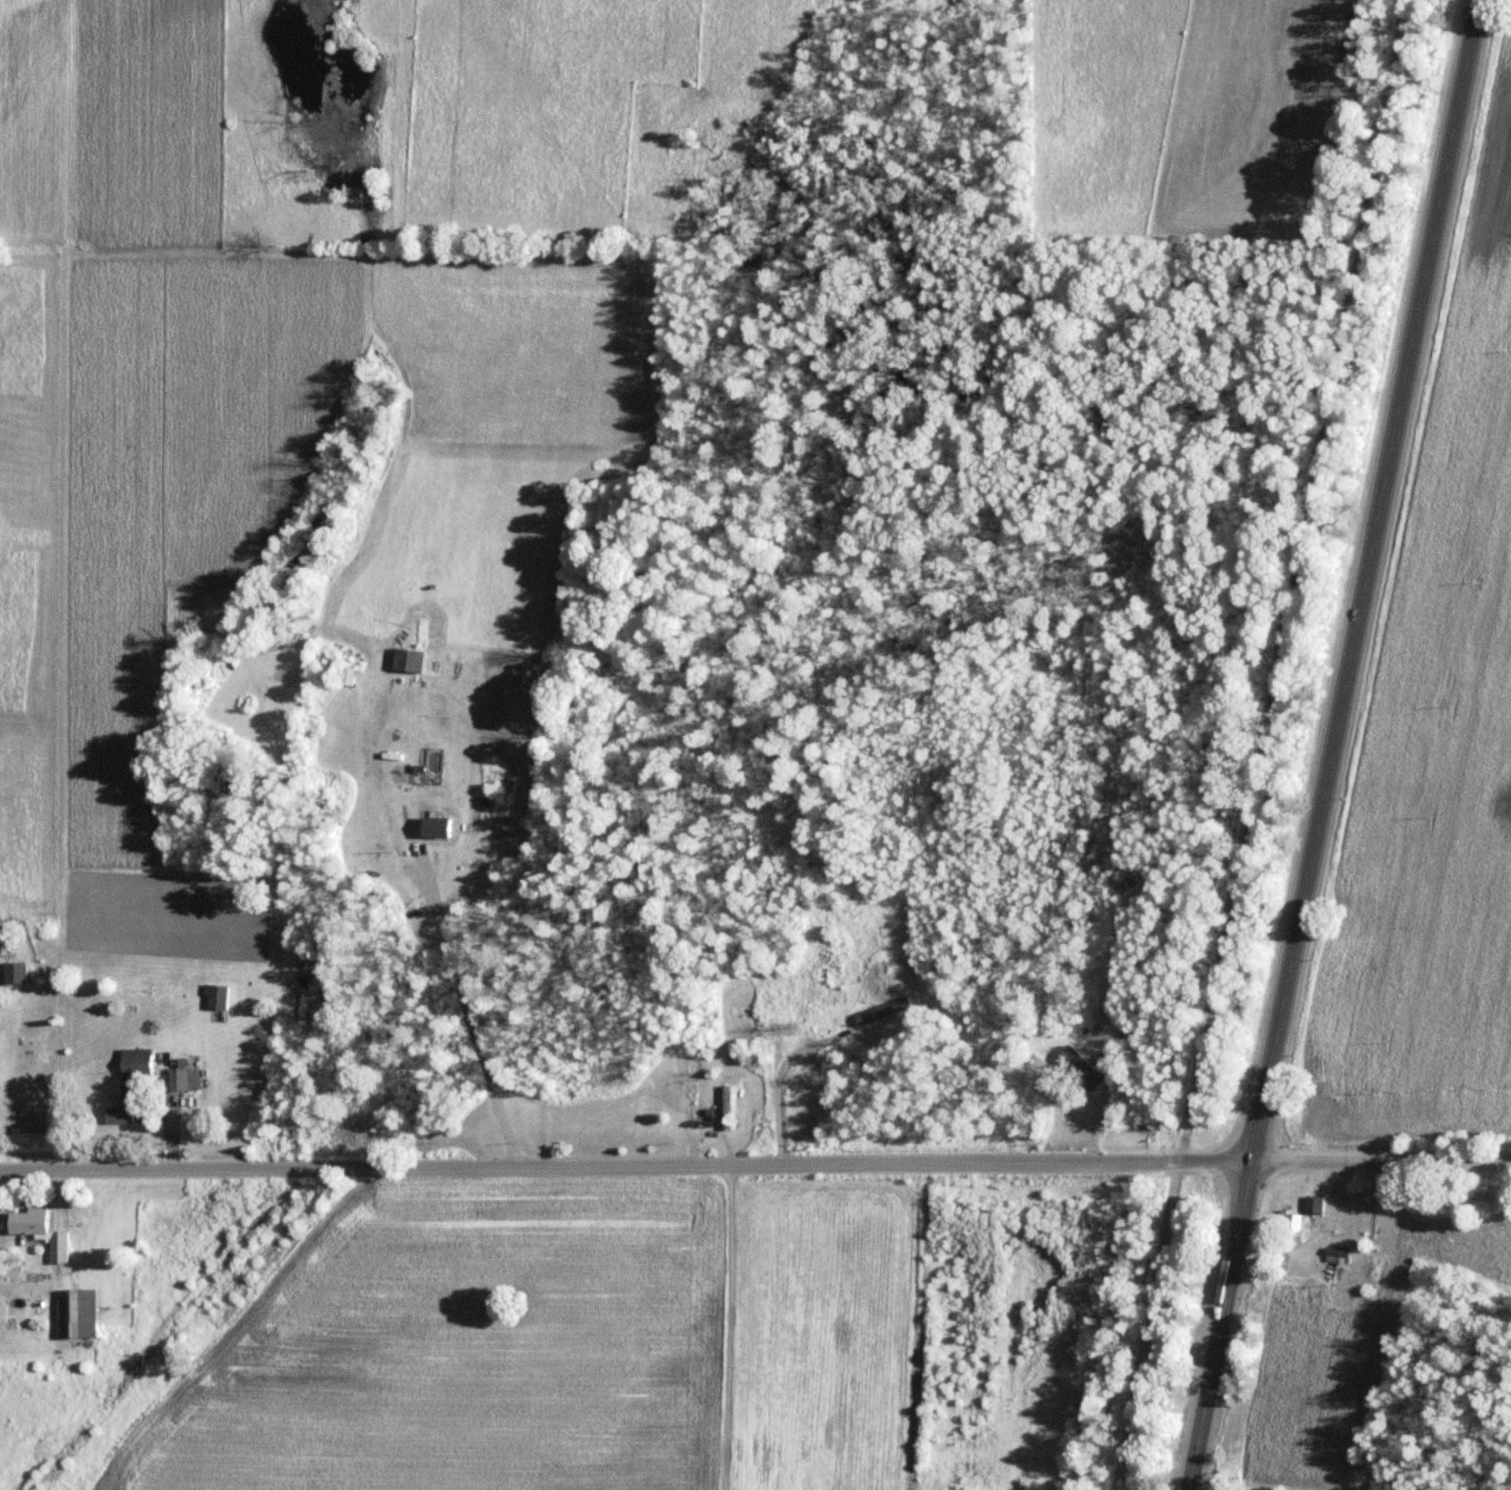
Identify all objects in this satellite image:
road: (1365, 582)
building: (404, 660)
building: (343, 676)
road: (1270, 746)
building: (430, 827)
building: (12, 972)
building: (213, 998)
road: (473, 1009)
building: (881, 1011)
building: (1077, 1069)
building: (131, 1073)
building: (180, 1079)
building: (688, 1106)
building: (724, 1108)
building: (116, 1115)
road: (755, 1166)
building: (1304, 1221)
building: (35, 1231)
building: (1335, 1253)
building: (0, 1310)
building: (72, 1315)
road: (718, 1327)
road: (1220, 1327)

